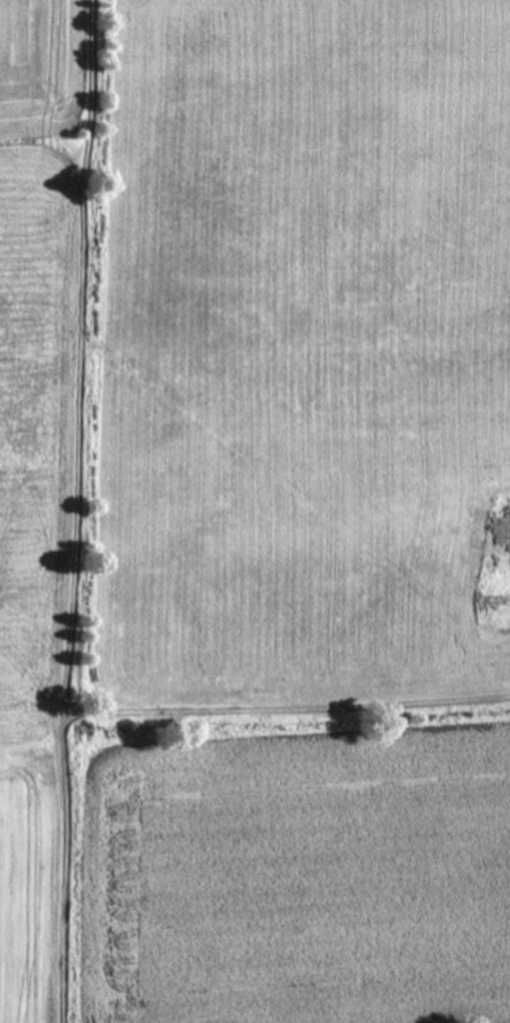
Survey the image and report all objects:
crop: (255, 511)

